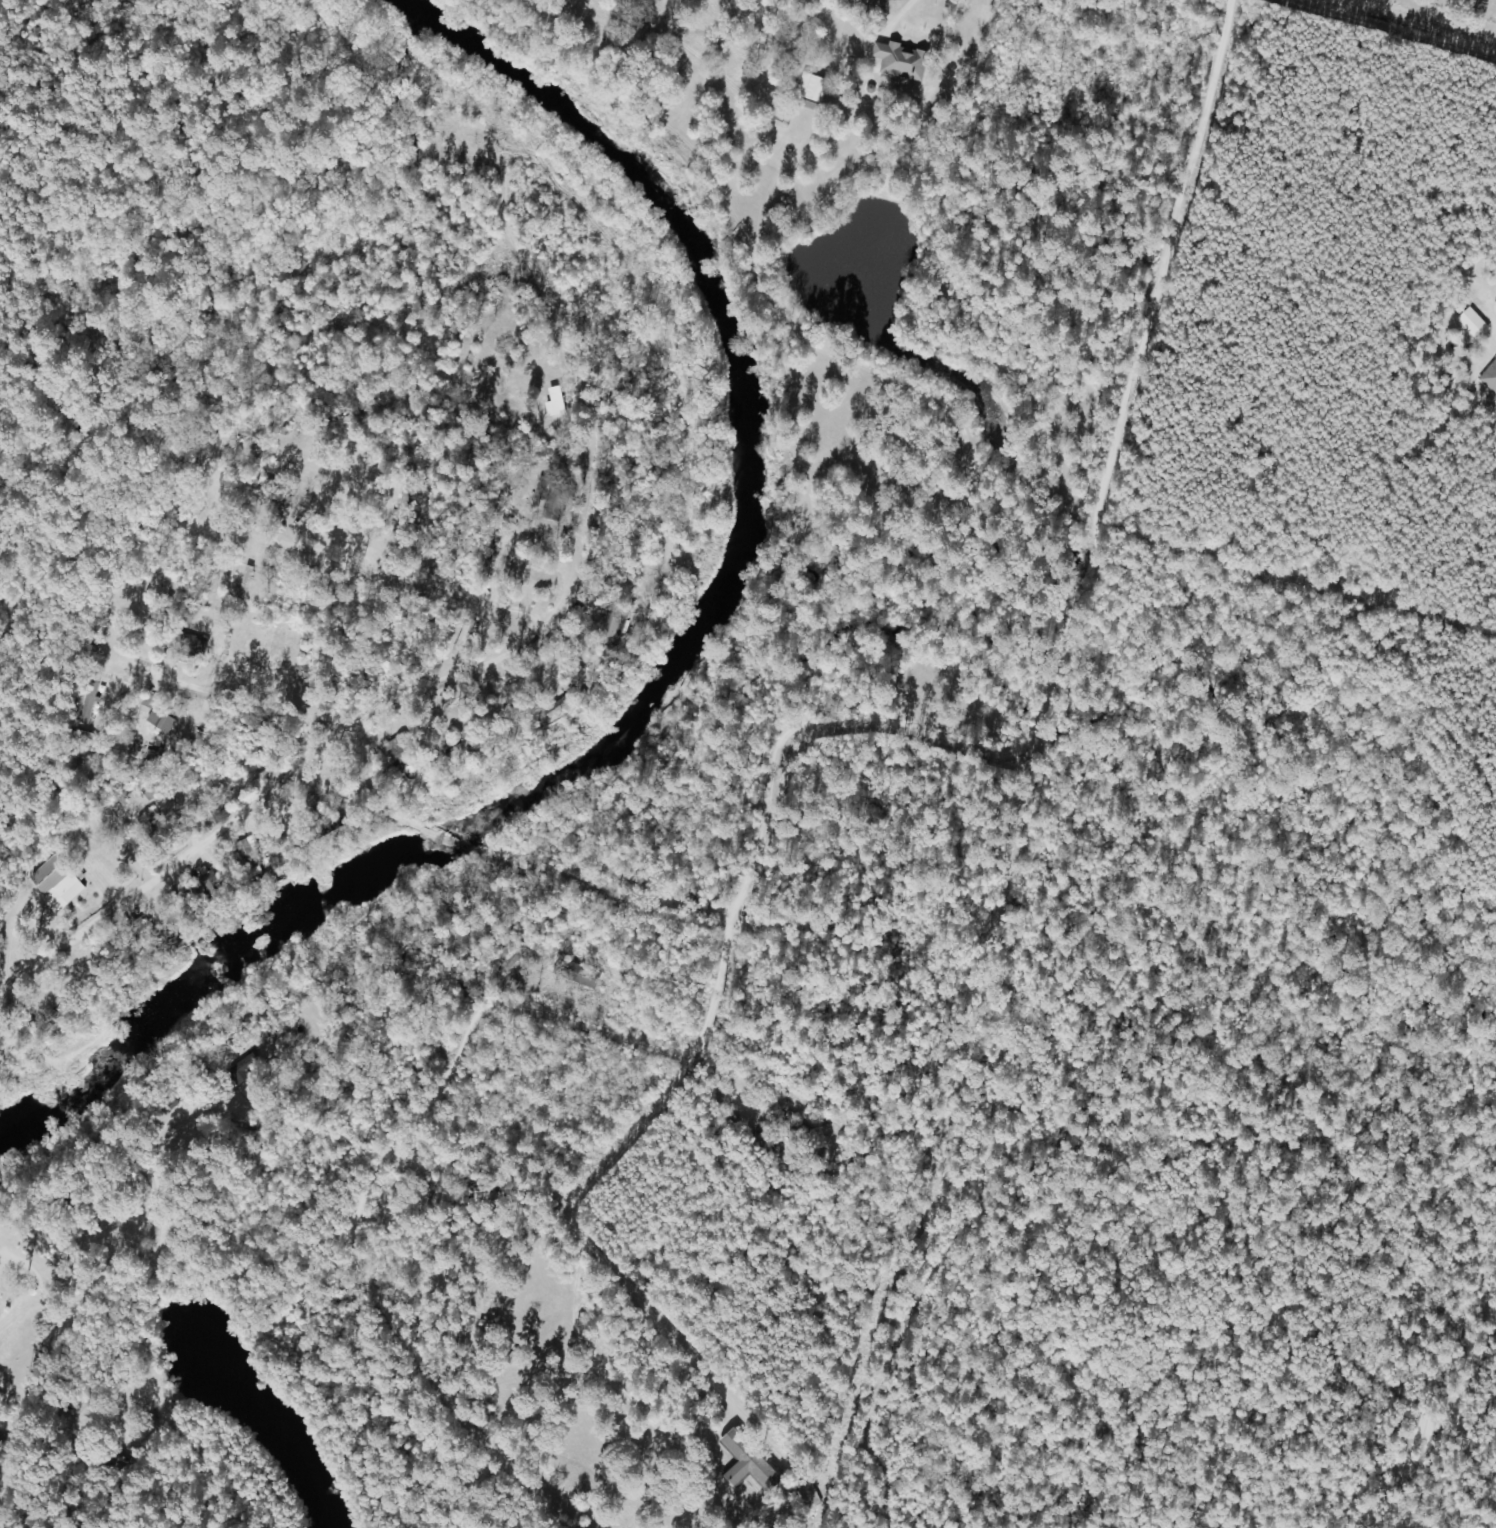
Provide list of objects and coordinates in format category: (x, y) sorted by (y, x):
road: (1424, 18)
building: (809, 87)
building: (1495, 307)
road: (1153, 342)
building: (531, 353)
building: (180, 461)
road: (433, 461)
building: (551, 495)
building: (479, 554)
building: (244, 583)
building: (606, 628)
building: (462, 636)
building: (188, 644)
road: (809, 698)
building: (556, 706)
building: (159, 720)
road: (258, 729)
road: (490, 738)
building: (466, 749)
building: (395, 751)
building: (371, 772)
building: (152, 787)
building: (153, 825)
building: (275, 836)
building: (248, 852)
road: (536, 871)
building: (54, 879)
building: (209, 879)
building: (173, 914)
building: (135, 926)
building: (508, 960)
road: (730, 972)
building: (574, 973)
building: (783, 1099)
building: (758, 1132)
building: (424, 1194)
road: (360, 1210)
road: (487, 1392)
road: (1467, 1432)
road: (6, 1434)
building: (744, 1461)
building: (807, 1495)

